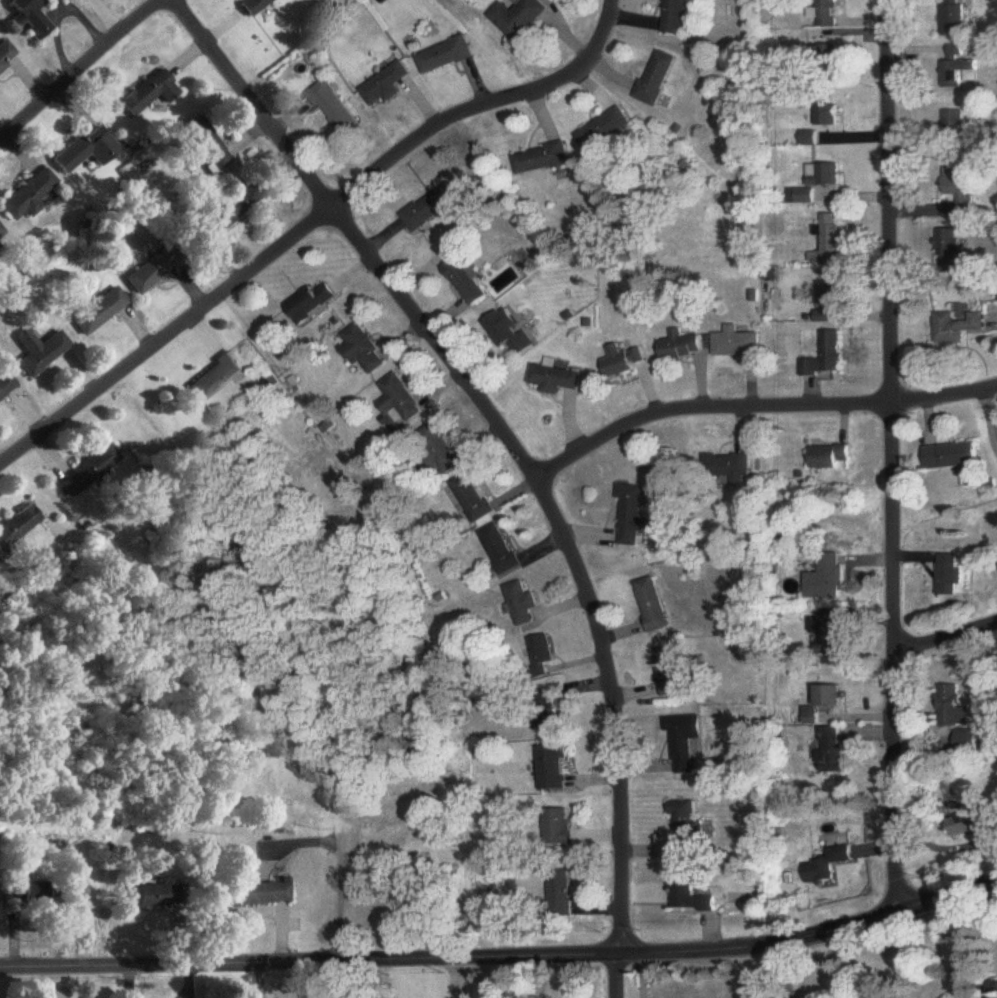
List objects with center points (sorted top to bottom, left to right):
building: (253, 6)
building: (826, 13)
building: (678, 17)
building: (30, 18)
building: (518, 18)
building: (955, 22)
building: (7, 57)
building: (445, 57)
building: (826, 59)
road: (82, 66)
building: (958, 69)
building: (657, 79)
building: (385, 87)
building: (148, 94)
building: (335, 109)
building: (830, 116)
building: (955, 126)
building: (604, 131)
building: (209, 148)
building: (86, 150)
building: (541, 159)
building: (827, 175)
building: (961, 187)
building: (28, 197)
building: (235, 207)
building: (430, 209)
road: (309, 225)
building: (830, 240)
building: (949, 250)
building: (151, 272)
building: (466, 281)
building: (830, 301)
building: (312, 303)
building: (99, 311)
building: (957, 326)
building: (508, 332)
building: (738, 344)
building: (684, 347)
building: (40, 351)
building: (365, 351)
building: (828, 357)
building: (624, 362)
building: (214, 377)
building: (556, 380)
building: (6, 386)
building: (401, 401)
road: (760, 407)
road: (504, 432)
building: (440, 449)
road: (890, 456)
building: (829, 457)
building: (952, 457)
building: (726, 467)
building: (89, 471)
building: (474, 498)
building: (634, 516)
building: (18, 526)
building: (502, 550)
building: (949, 576)
building: (828, 577)
building: (524, 604)
building: (654, 606)
road: (944, 640)
building: (544, 655)
building: (675, 672)
building: (832, 697)
building: (952, 707)
building: (967, 741)
building: (688, 745)
building: (832, 751)
building: (554, 768)
building: (968, 824)
building: (559, 828)
building: (688, 832)
building: (829, 865)
building: (26, 890)
building: (258, 894)
building: (562, 895)
building: (158, 896)
building: (691, 897)
road: (962, 944)
road: (503, 960)
road: (622, 978)

